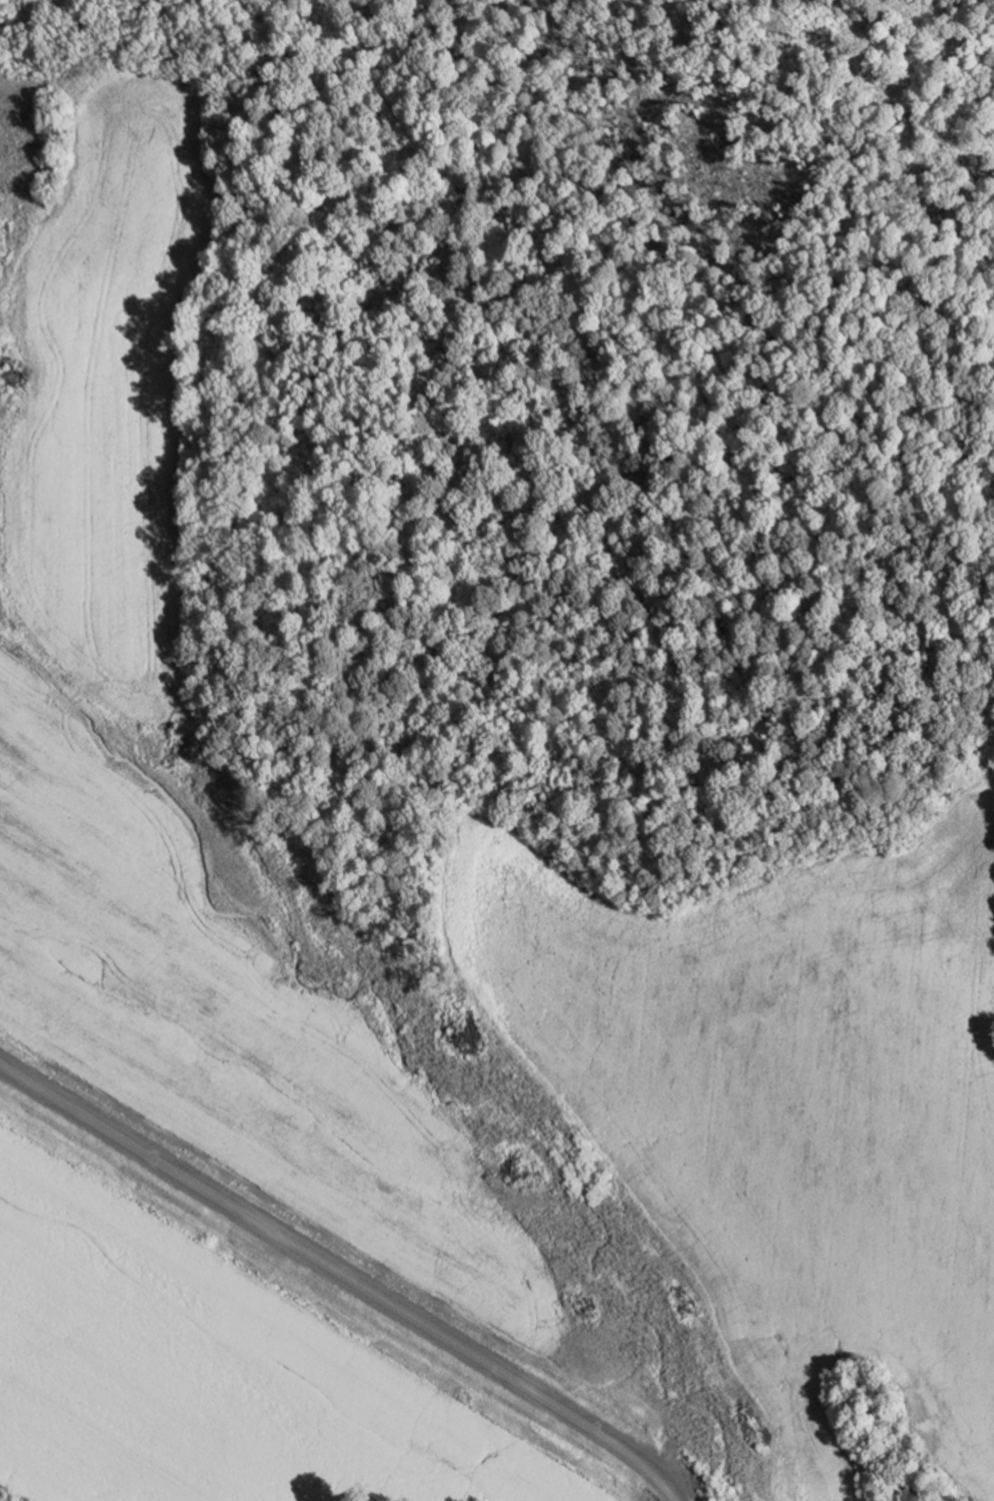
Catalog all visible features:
road: (347, 1272)

